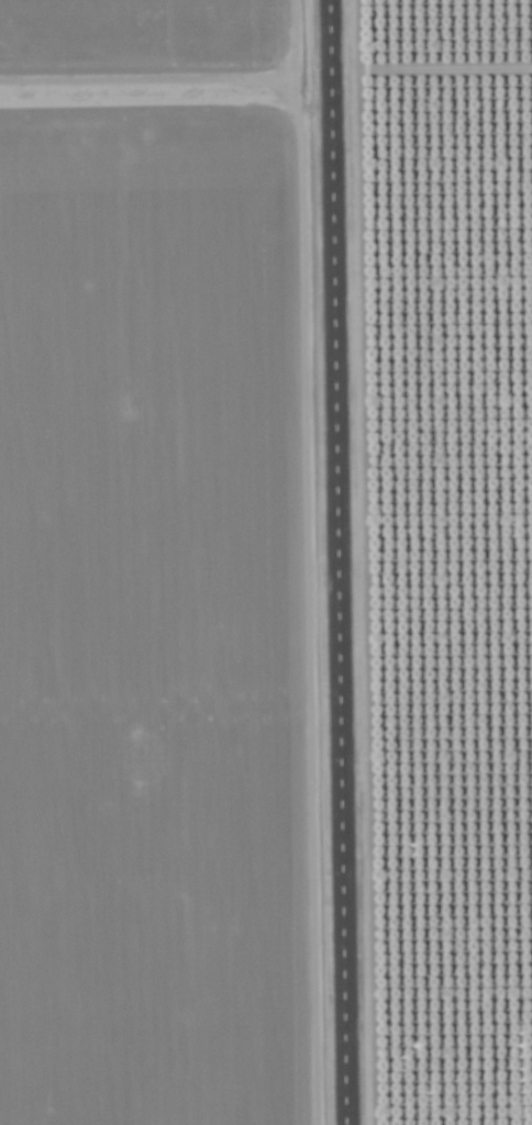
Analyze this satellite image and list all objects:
crop: (137, 35)
airport runway: (335, 562)
crop: (144, 606)

